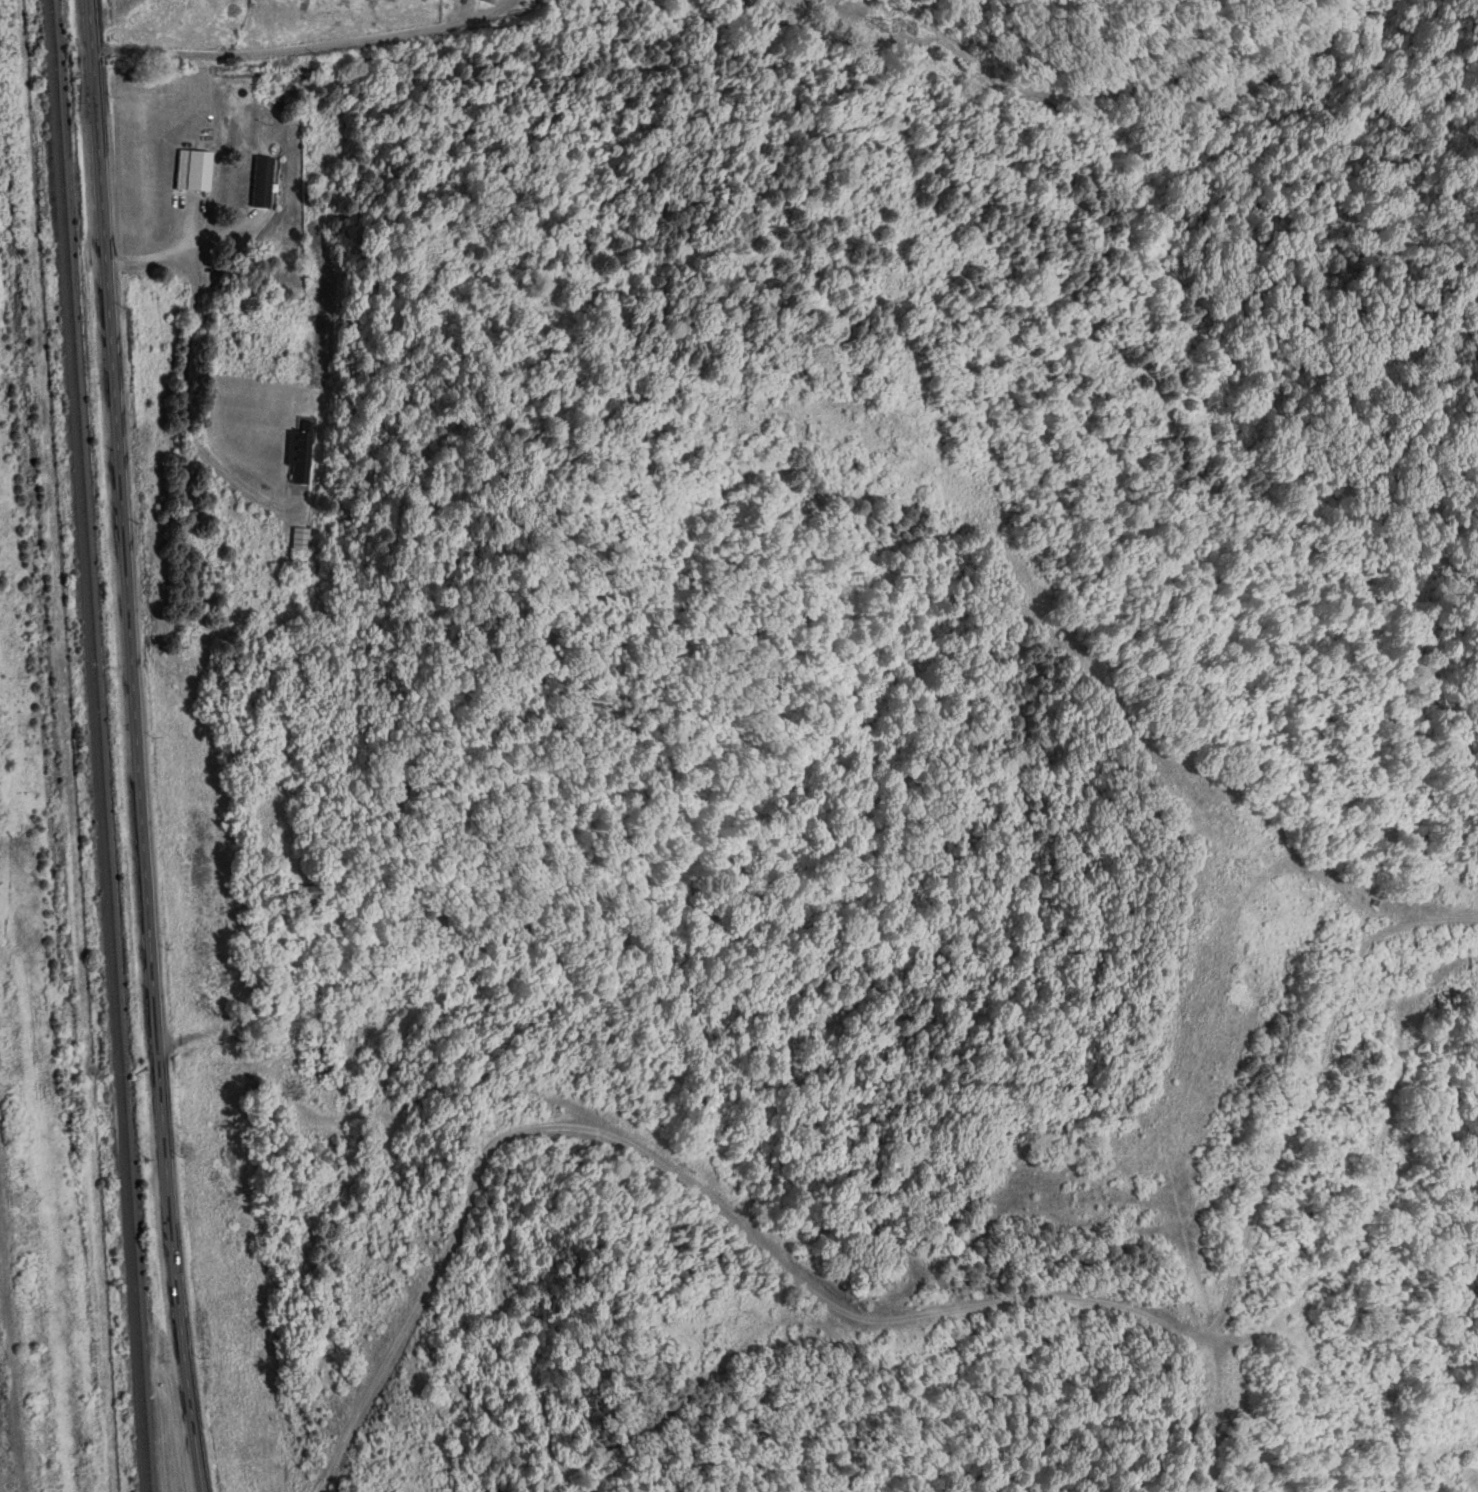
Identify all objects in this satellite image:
building: (492, 1)
road: (942, 12)
road: (343, 37)
road: (44, 43)
building: (194, 169)
building: (263, 181)
road: (204, 239)
road: (186, 370)
building: (300, 456)
railway: (93, 746)
road: (138, 746)
building: (306, 897)
building: (322, 1156)
road: (729, 1221)

